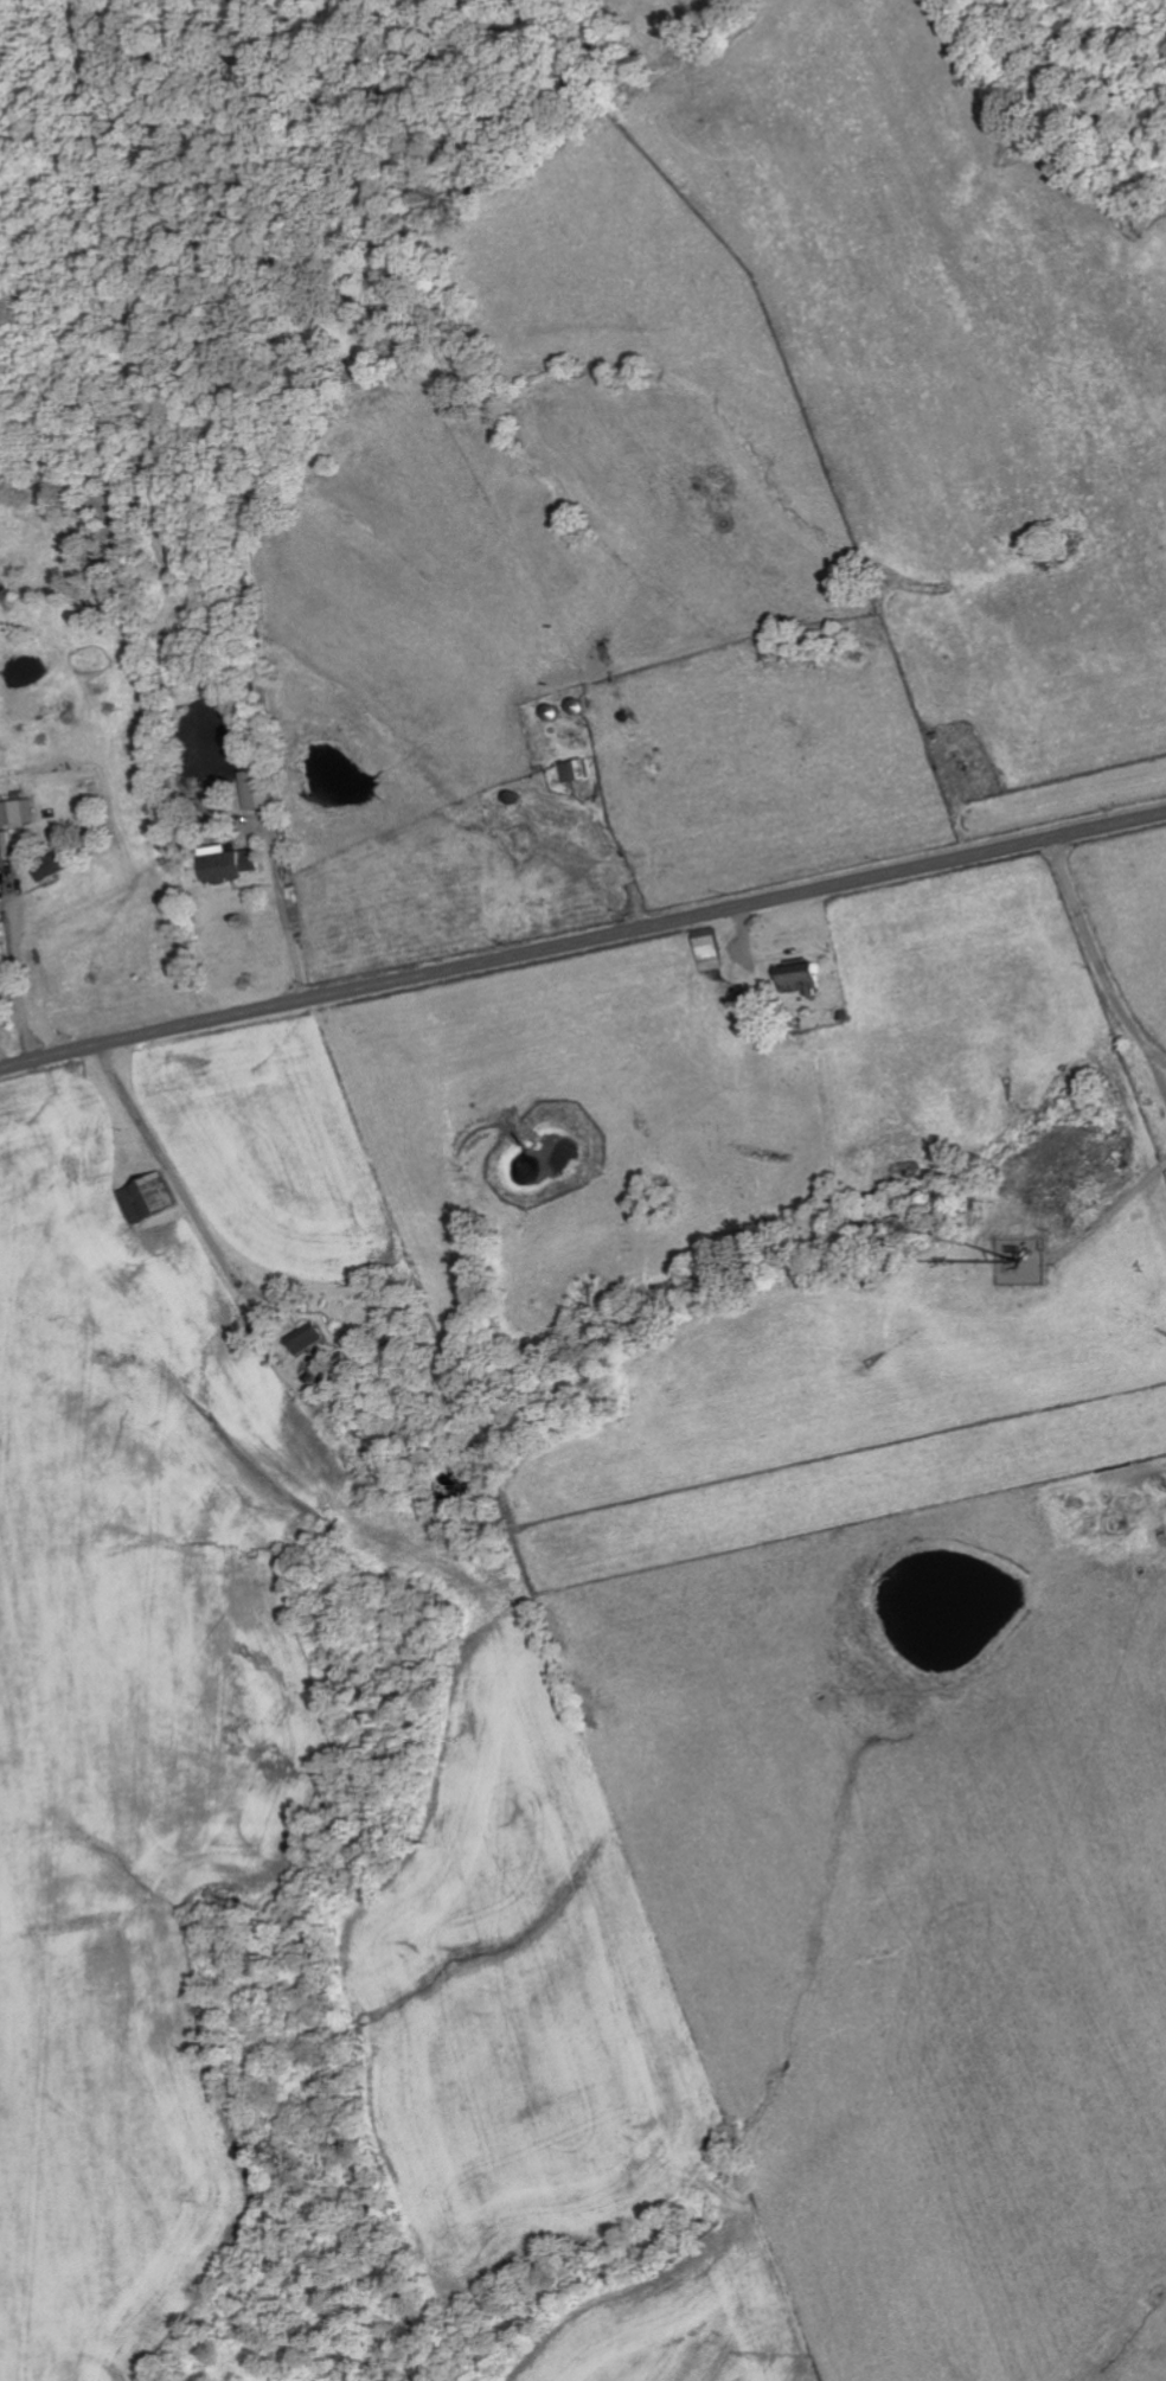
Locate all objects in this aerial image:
building: (258, 789)
building: (19, 812)
building: (230, 863)
building: (53, 866)
road: (284, 915)
road: (582, 943)
building: (711, 952)
road: (1095, 960)
road: (14, 985)
road: (167, 1167)
building: (150, 1198)
building: (308, 1338)

